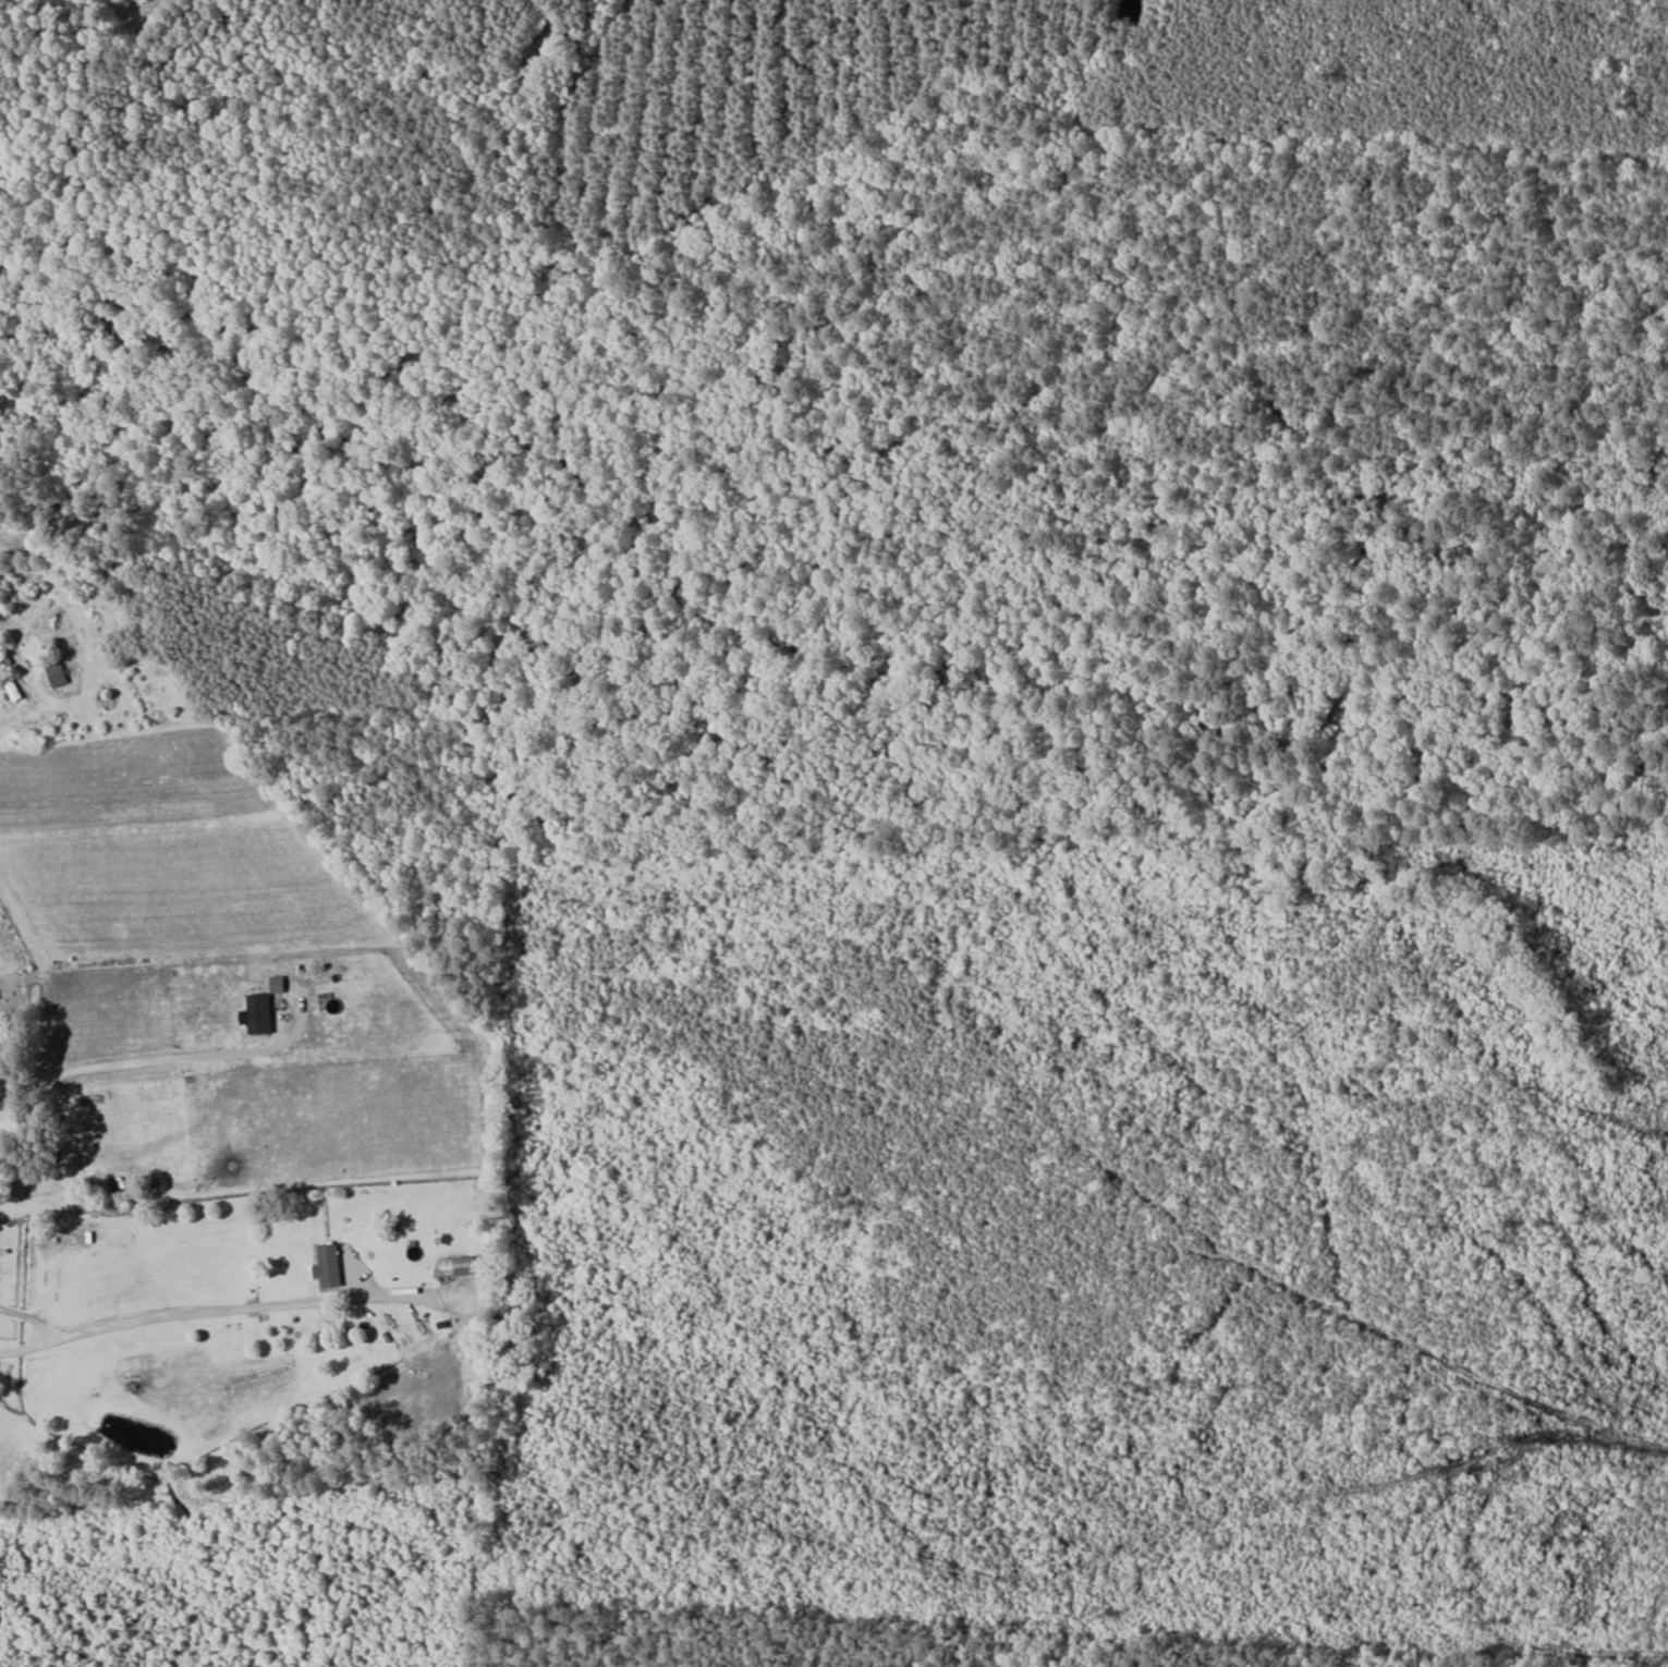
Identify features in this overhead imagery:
building: (0, 655)
building: (52, 674)
building: (5, 684)
building: (272, 984)
building: (253, 1013)
road: (216, 1152)
road: (53, 1190)
building: (324, 1266)
building: (452, 1266)
road: (229, 1309)

